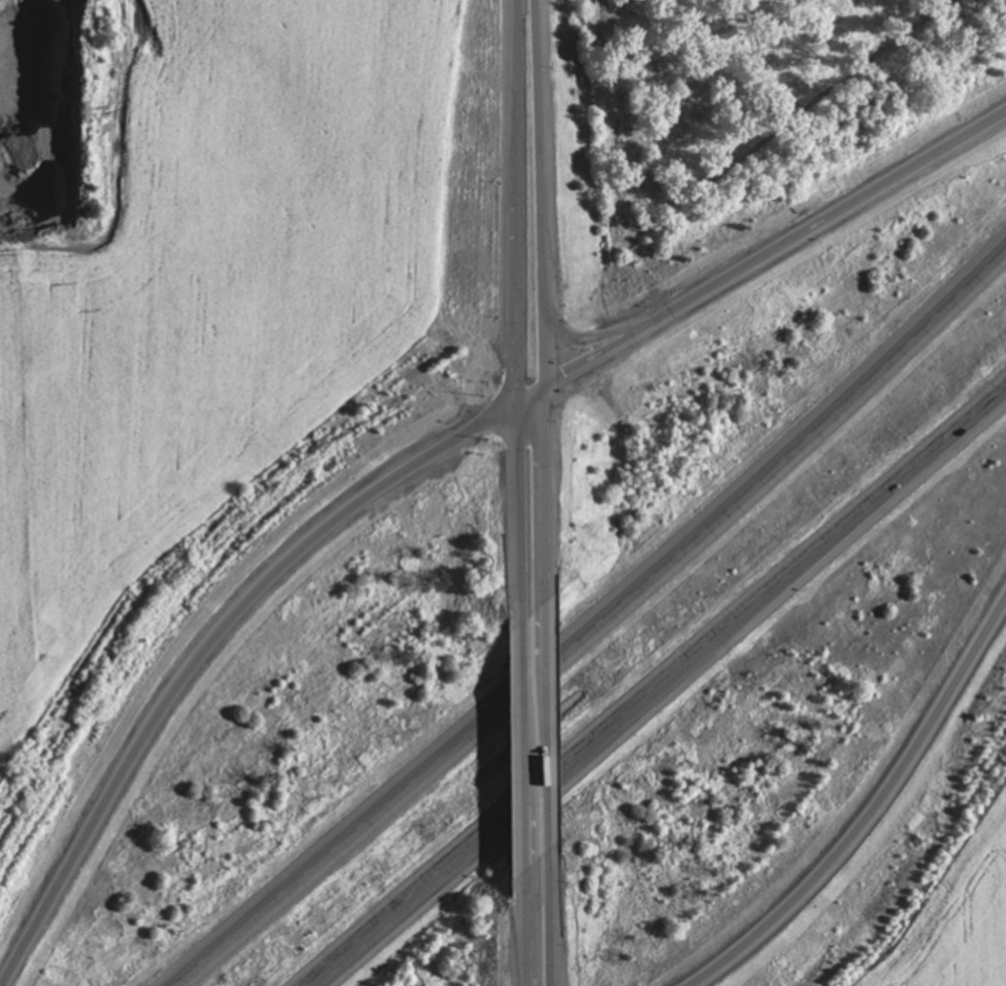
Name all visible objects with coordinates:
road: (539, 195)
road: (518, 203)
road: (837, 216)
road: (603, 335)
road: (606, 354)
road: (530, 399)
road: (545, 495)
road: (519, 511)
road: (757, 602)
road: (597, 628)
road: (206, 642)
road: (549, 723)
road: (523, 743)
road: (867, 808)
road: (404, 902)
road: (551, 917)
road: (525, 928)

